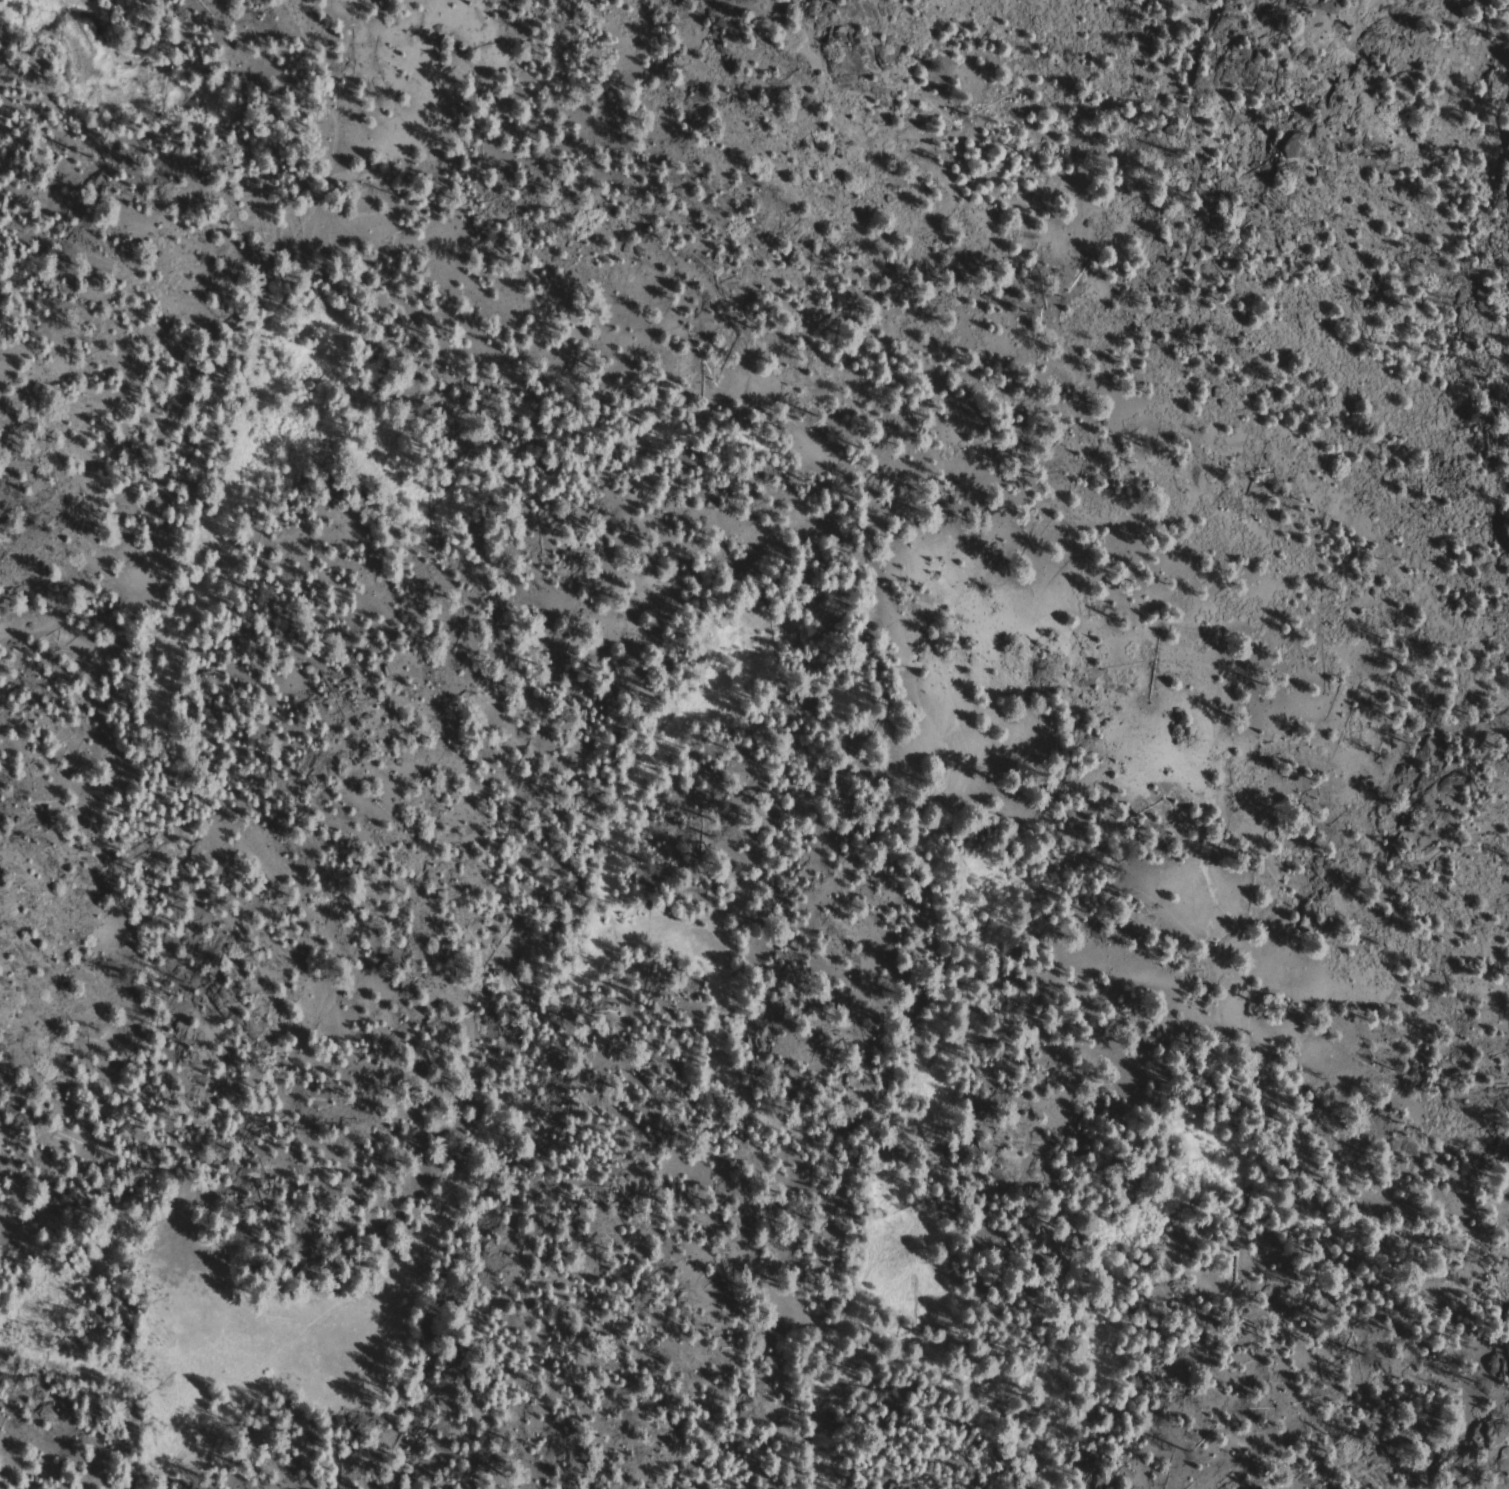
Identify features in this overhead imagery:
road: (592, 355)
road: (802, 696)

